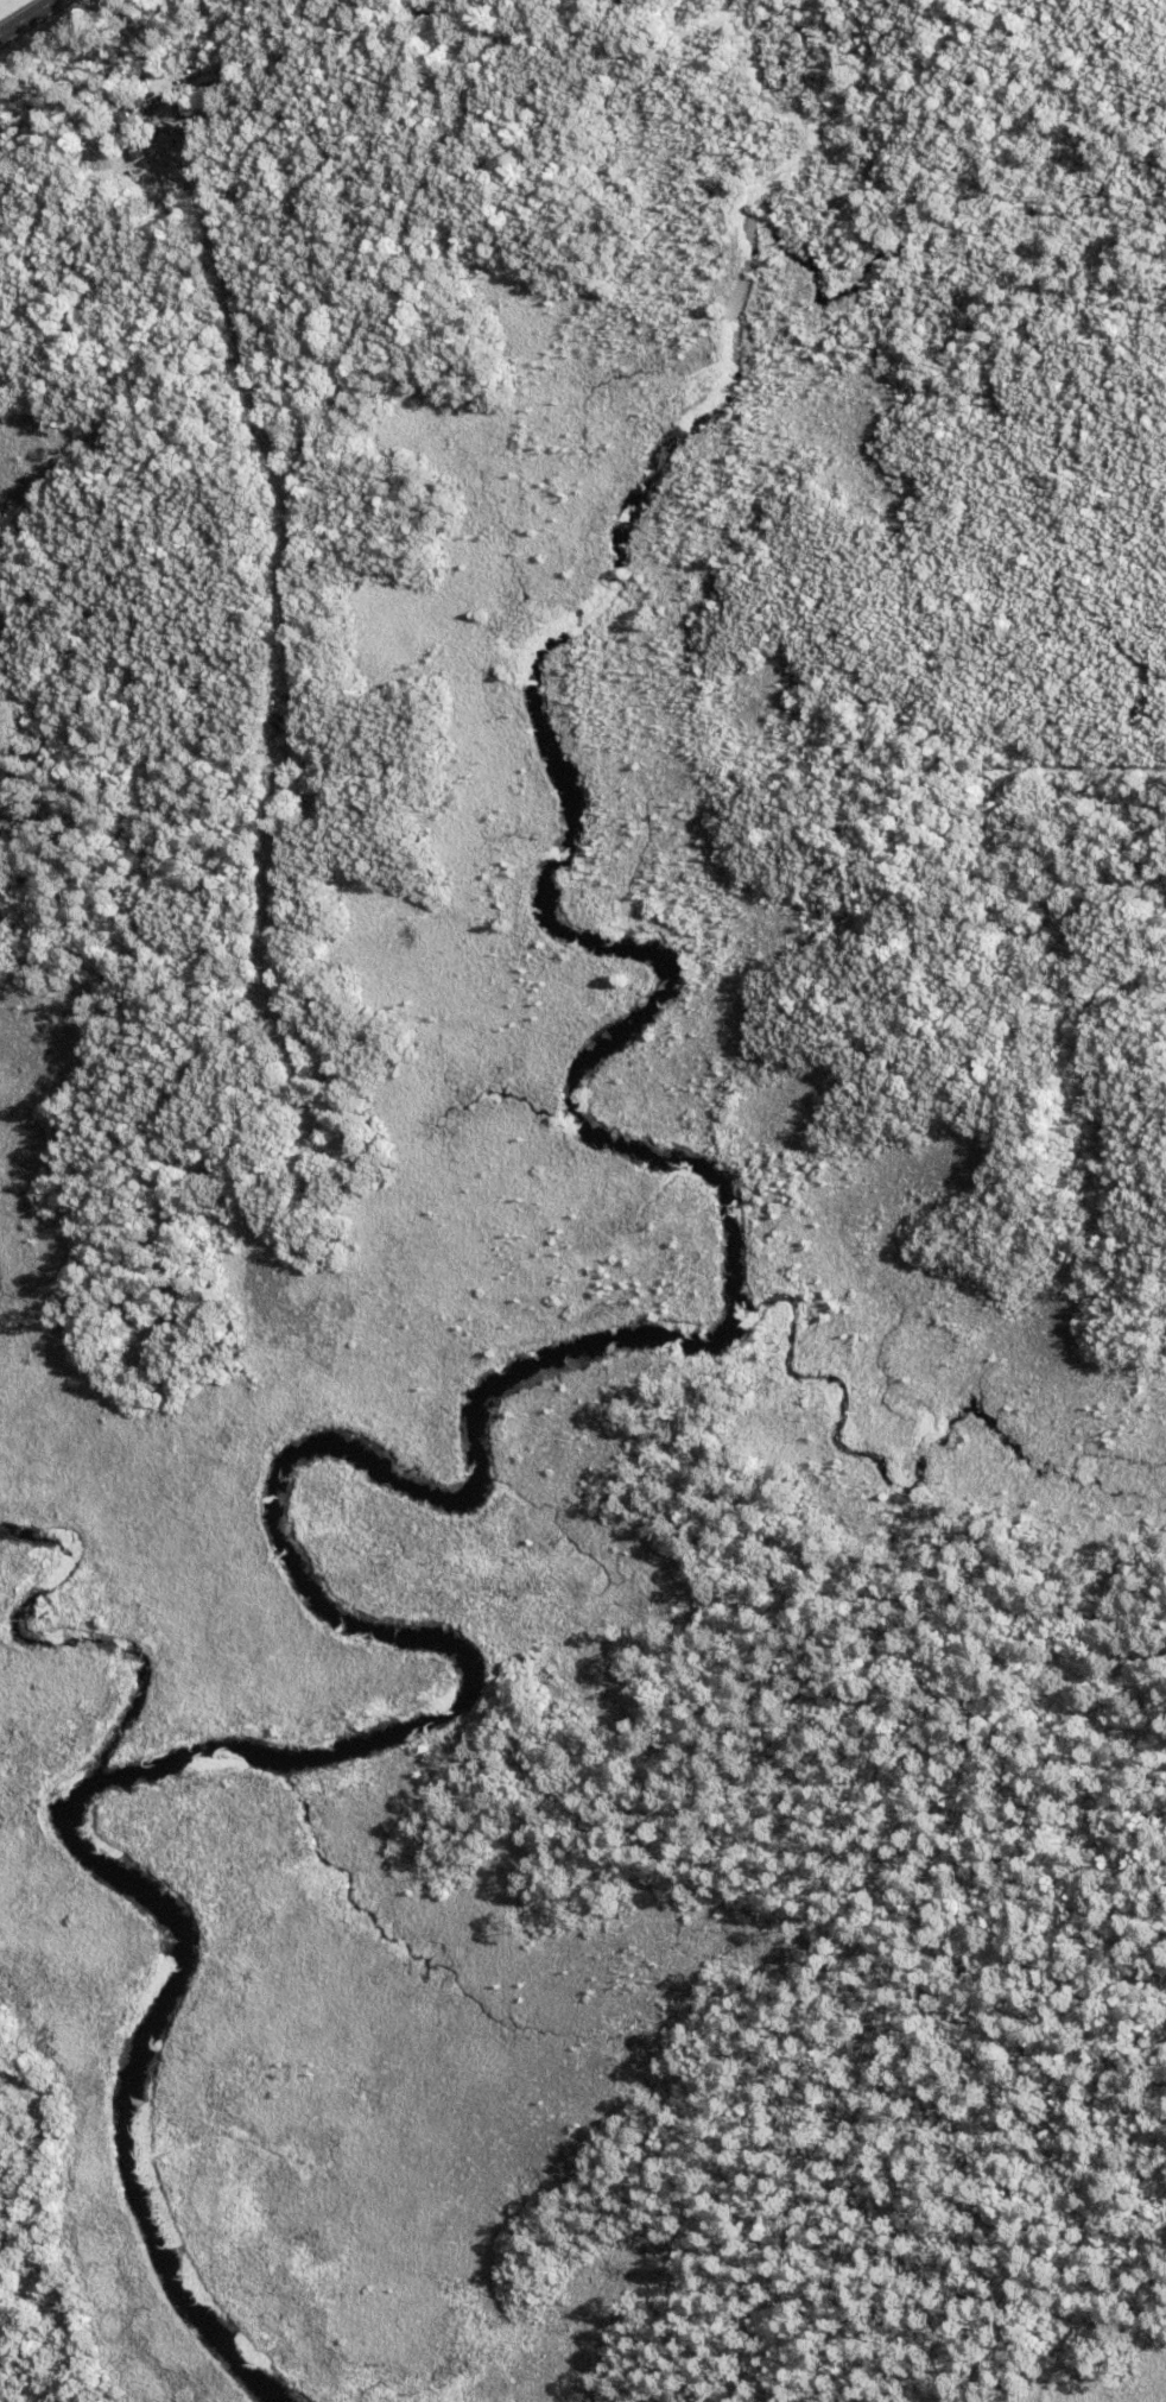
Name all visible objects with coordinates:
road: (36, 21)
building: (141, 109)
building: (152, 124)
building: (152, 132)
building: (132, 135)
building: (171, 146)
building: (153, 151)
road: (11, 195)
building: (171, 214)
road: (1040, 792)
building: (328, 807)
river: (493, 1477)

